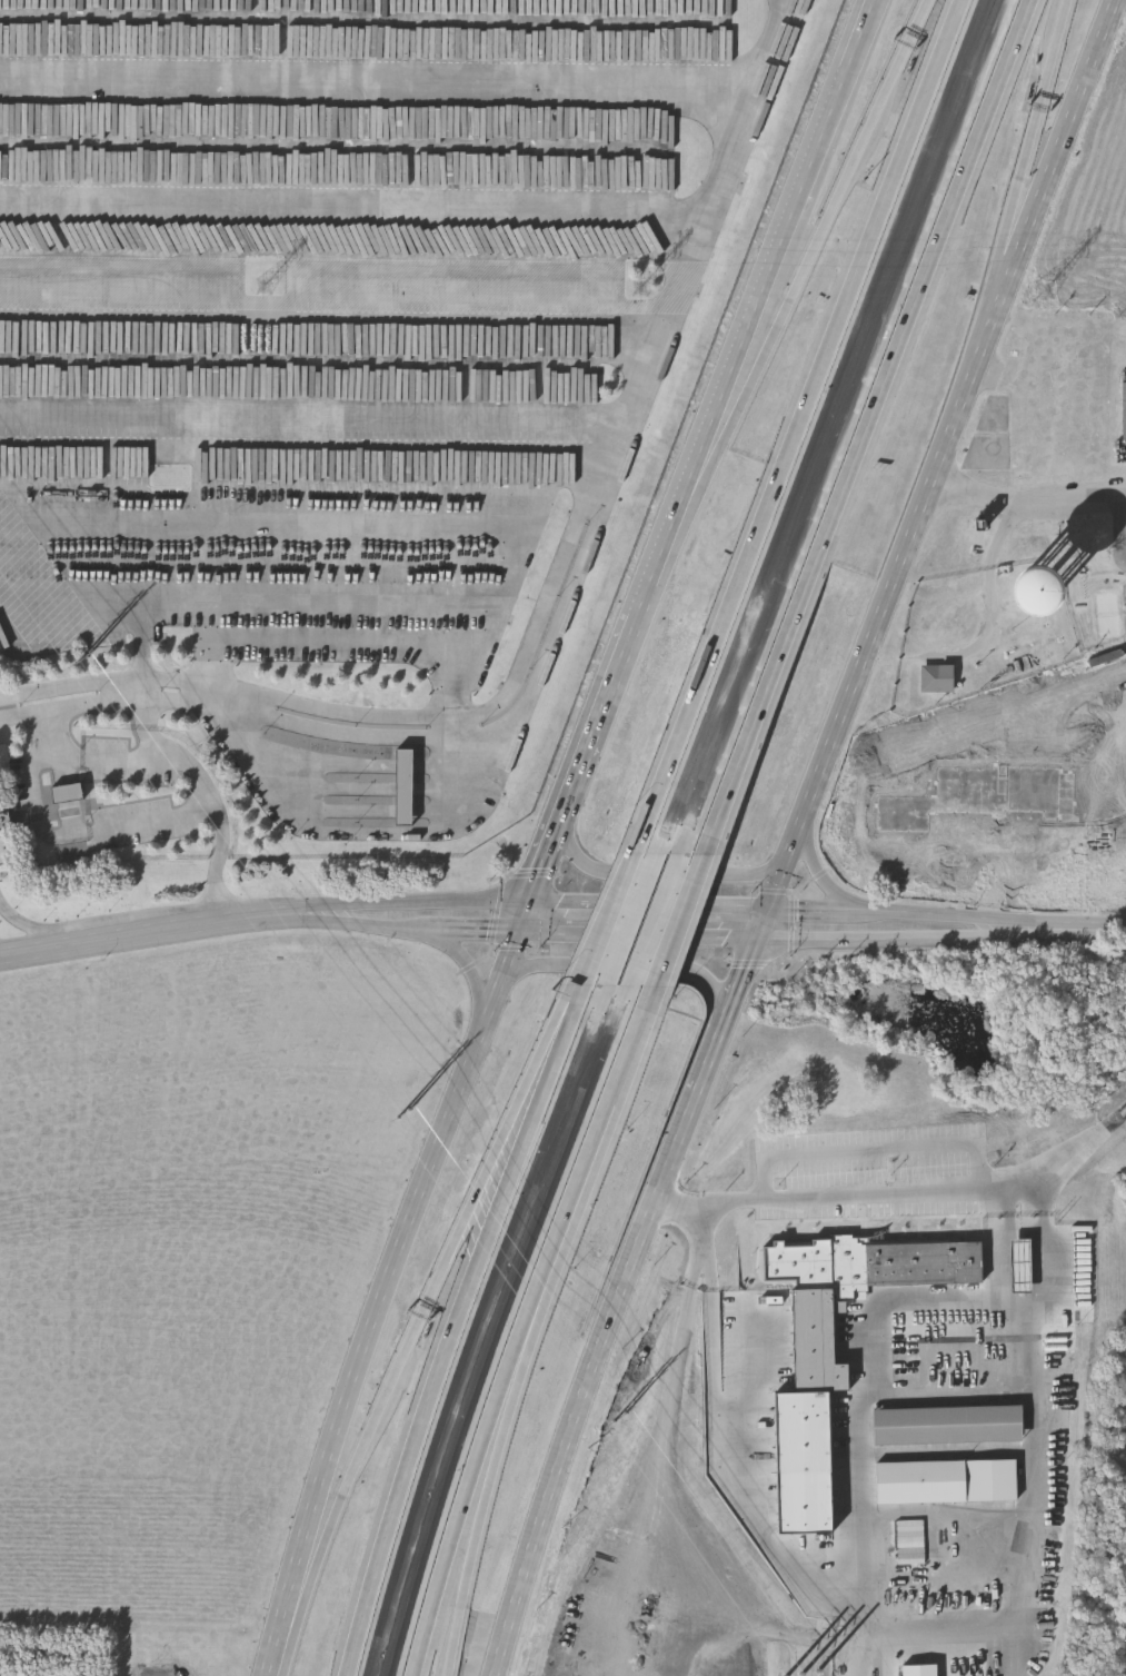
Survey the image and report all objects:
building: (789, 27)
road: (1028, 157)
road: (806, 268)
power tower: (261, 287)
power tower: (632, 292)
power tower: (1043, 296)
road: (755, 315)
road: (330, 324)
building: (1123, 411)
road: (796, 426)
road: (865, 428)
road: (548, 458)
road: (933, 469)
road: (1025, 505)
road: (1123, 527)
water tower: (1018, 597)
building: (1022, 598)
road: (241, 601)
road: (478, 623)
road: (561, 624)
road: (541, 627)
water tower: (987, 636)
road: (216, 642)
power tower: (82, 654)
road: (465, 666)
building: (937, 680)
road: (108, 681)
road: (141, 694)
road: (109, 705)
road: (600, 718)
road: (46, 735)
road: (71, 756)
building: (401, 786)
building: (64, 794)
building: (3, 823)
road: (350, 836)
road: (547, 855)
traffic signals: (542, 869)
road: (652, 873)
road: (532, 874)
road: (820, 875)
road: (813, 879)
road: (656, 887)
road: (775, 890)
road: (421, 902)
traffic signals: (561, 905)
road: (645, 908)
road: (500, 910)
traffic signals: (801, 912)
road: (880, 912)
road: (606, 919)
road: (674, 921)
road: (793, 921)
road: (380, 929)
road: (1060, 930)
road: (39, 931)
road: (158, 931)
road: (482, 932)
traffic signals: (490, 932)
road: (637, 935)
traffic signals: (730, 938)
road: (875, 938)
road: (511, 948)
road: (631, 952)
road: (480, 960)
road: (763, 962)
road: (464, 963)
road: (632, 964)
traffic signals: (744, 969)
road: (737, 986)
road: (577, 995)
road: (635, 1028)
power tower: (405, 1115)
road: (870, 1147)
road: (574, 1192)
road: (901, 1194)
building: (1020, 1258)
road: (385, 1286)
road: (424, 1306)
road: (883, 1308)
building: (813, 1333)
road: (450, 1337)
road: (600, 1353)
road: (955, 1395)
power tower: (619, 1420)
building: (945, 1481)
road: (741, 1482)
road: (1045, 1487)
road: (467, 1494)
road: (487, 1495)
road: (1009, 1564)
building: (839, 1571)
road: (924, 1613)
building: (1016, 1635)
power tower: (803, 1675)

